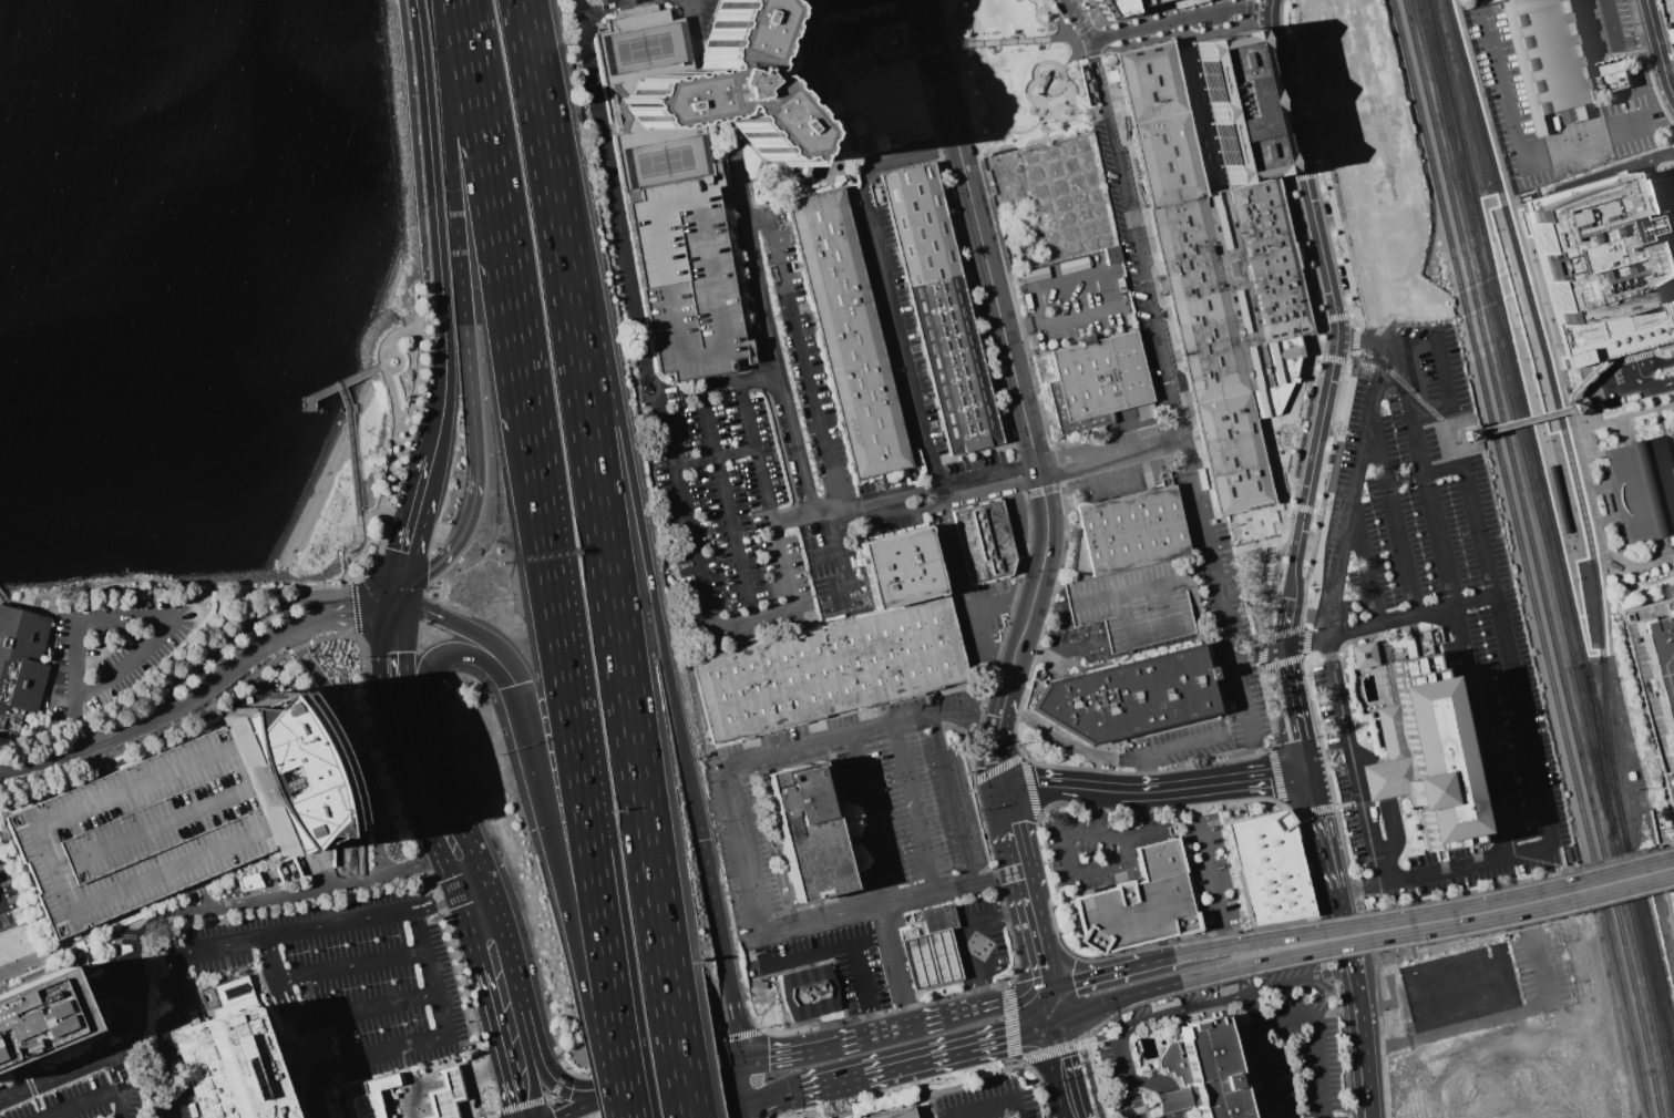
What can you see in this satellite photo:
building: (1139, 2)
parking garage: (1139, 2)
road: (922, 6)
building: (1672, 6)
parking lot: (1672, 6)
building: (1116, 7)
road: (1249, 7)
road: (829, 9)
road: (966, 9)
road: (1270, 9)
road: (689, 11)
road: (1133, 13)
building: (637, 17)
road: (1246, 18)
road: (1055, 19)
road: (1078, 19)
road: (1180, 19)
road: (1662, 20)
road: (1270, 22)
road: (944, 23)
road: (865, 24)
parking lot: (1609, 24)
road: (1085, 25)
street lamp: (1002, 38)
road: (1009, 41)
road: (1614, 42)
park: (641, 48)
road: (932, 50)
street lamp: (955, 50)
road: (1657, 50)
road: (1091, 52)
road: (1078, 54)
building: (1545, 58)
road: (470, 64)
park: (1015, 71)
park: (404, 84)
building: (721, 85)
road: (787, 91)
road: (774, 94)
road: (1267, 95)
road: (538, 98)
road: (964, 103)
building: (1237, 105)
road: (1204, 109)
road: (448, 114)
road: (758, 115)
road: (1293, 127)
road: (1014, 132)
building: (647, 133)
road: (990, 139)
road: (1520, 147)
road: (1200, 150)
park: (663, 161)
road: (1323, 162)
road: (1319, 172)
road: (1303, 175)
road: (1288, 178)
road: (1215, 189)
building: (631, 194)
road: (1501, 198)
road: (616, 201)
railway: (1504, 209)
road: (1153, 214)
road: (1139, 216)
road: (435, 224)
road: (1133, 237)
road: (1151, 240)
road: (1297, 253)
building: (1605, 263)
road: (1229, 268)
road: (1233, 269)
road: (1102, 273)
road: (1159, 275)
road: (507, 278)
building: (685, 278)
parking lot: (685, 278)
building: (1216, 280)
road: (885, 283)
road: (1161, 284)
road: (1328, 284)
road: (1673, 294)
road: (1163, 295)
parking lot: (1076, 299)
road: (424, 305)
road: (1280, 305)
road: (1637, 306)
building: (939, 308)
road: (1540, 310)
road: (1162, 312)
road: (1336, 317)
road: (1312, 321)
road: (769, 325)
road: (1016, 326)
railway: (1504, 326)
road: (1621, 329)
road: (399, 331)
building: (848, 334)
road: (1004, 334)
road: (1356, 342)
road: (1634, 343)
road: (1417, 345)
road: (1662, 345)
parking lot: (805, 348)
road: (801, 353)
road: (384, 356)
road: (1334, 358)
road: (1622, 358)
road: (1652, 362)
road: (381, 365)
road: (1332, 368)
road: (725, 378)
building: (1098, 381)
road: (1578, 381)
road: (1640, 382)
road: (1403, 383)
road: (717, 387)
road: (1585, 390)
pier: (317, 393)
road: (1449, 397)
road: (393, 404)
road: (1569, 408)
road: (1589, 409)
building: (1144, 411)
road: (1577, 413)
railway: (1514, 416)
road: (1521, 420)
road: (1612, 420)
road: (350, 425)
road: (1662, 427)
road: (473, 428)
road: (1569, 431)
road: (1563, 432)
road: (1470, 433)
road: (1475, 434)
park: (371, 435)
road: (1449, 437)
road: (1672, 445)
road: (757, 452)
road: (713, 459)
road: (1313, 462)
road: (1060, 465)
road: (1329, 468)
road: (427, 476)
road: (1290, 480)
building: (1642, 488)
road: (1353, 489)
road: (1588, 492)
road: (1329, 493)
building: (1555, 498)
road: (725, 503)
road: (1321, 503)
road: (384, 504)
road: (856, 505)
road: (1305, 507)
parking lot: (728, 511)
road: (682, 513)
road: (1627, 513)
road: (637, 515)
road: (361, 516)
road: (1394, 520)
building: (1128, 531)
road: (360, 540)
building: (983, 541)
road: (362, 546)
road: (407, 551)
road: (954, 551)
road: (821, 552)
road: (1602, 554)
road: (1592, 555)
railway: (1521, 558)
railway: (1533, 558)
parking lot: (844, 560)
road: (1641, 563)
road: (839, 564)
road: (1293, 565)
building: (898, 567)
road: (1365, 568)
road: (1212, 571)
road: (1446, 572)
road: (173, 585)
road: (1272, 585)
road: (610, 587)
road: (1271, 589)
traffic signals: (394, 596)
pier: (2, 597)
building: (1138, 602)
parking garage: (1138, 602)
road: (1606, 605)
road: (784, 606)
road: (1048, 609)
road: (341, 612)
road: (968, 615)
parking lot: (1490, 615)
road: (248, 617)
road: (104, 619)
road: (1387, 620)
parking lot: (986, 622)
road: (386, 623)
railway: (1600, 623)
road: (400, 624)
road: (1285, 625)
road: (465, 628)
road: (1284, 632)
railway: (1588, 637)
road: (1306, 640)
parking lot: (115, 648)
road: (251, 649)
road: (1061, 649)
road: (1601, 652)
road: (1261, 653)
building: (1362, 655)
railway: (1611, 655)
parking lot: (1235, 656)
road: (1282, 660)
building: (20, 664)
railway: (1583, 664)
road: (427, 668)
building: (829, 669)
building: (1654, 680)
traffic signals: (514, 685)
building: (1129, 696)
road: (1242, 696)
road: (181, 701)
parking lot: (1333, 705)
road: (1002, 707)
road: (1292, 710)
road: (411, 711)
road: (571, 711)
road: (1523, 726)
road: (359, 742)
road: (1171, 748)
road: (379, 750)
road: (72, 752)
railway: (1604, 752)
railway: (1599, 753)
road: (393, 756)
road: (782, 756)
road: (1363, 756)
building: (1421, 760)
road: (1354, 761)
building: (287, 770)
traffic signals: (1306, 773)
road: (995, 775)
road: (1383, 778)
road: (1235, 781)
road: (1065, 787)
traffic signals: (998, 789)
road: (1149, 790)
parking lot: (856, 797)
road: (954, 800)
road: (915, 810)
parking lot: (1356, 817)
road: (876, 820)
road: (1317, 825)
road: (1099, 827)
road: (1007, 830)
building: (138, 831)
parking lot: (138, 831)
building: (807, 831)
road: (1394, 834)
road: (552, 841)
road: (1665, 843)
parking lot: (1099, 845)
road: (1210, 854)
road: (1599, 860)
road: (1112, 865)
building: (1269, 866)
road: (480, 875)
building: (248, 880)
road: (460, 890)
road: (1023, 890)
road: (197, 896)
road: (1439, 896)
road: (420, 901)
building: (1672, 901)
building: (1140, 902)
road: (0, 904)
road: (890, 904)
road: (0, 906)
road: (1499, 907)
road: (423, 910)
parking lot: (7, 911)
road: (716, 911)
road: (165, 917)
building: (938, 919)
road: (822, 921)
road: (1339, 923)
road: (967, 935)
road: (1232, 938)
road: (1247, 943)
railway: (1649, 943)
road: (71, 944)
road: (212, 944)
road: (1174, 944)
road: (1037, 948)
road: (813, 955)
building: (930, 958)
road: (1251, 961)
road: (1143, 963)
road: (352, 965)
parking lot: (859, 967)
railway: (1644, 973)
road: (1010, 976)
road: (433, 977)
road: (1080, 979)
road: (1300, 981)
road: (482, 985)
road: (1246, 985)
road: (838, 987)
traffic signals: (1047, 991)
building: (809, 992)
road: (862, 992)
road: (1113, 997)
road: (1015, 1001)
parking lot: (298, 1004)
road: (850, 1004)
road: (370, 1006)
road: (469, 1008)
road: (1049, 1008)
road: (1184, 1011)
road: (783, 1012)
building: (39, 1015)
road: (962, 1015)
road: (1490, 1018)
road: (305, 1022)
road: (736, 1023)
road: (1008, 1023)
traffic signals: (1052, 1026)
parking lot: (1255, 1026)
road: (742, 1034)
road: (345, 1036)
road: (1099, 1036)
road: (1318, 1037)
road: (717, 1043)
road: (1360, 1043)
building: (276, 1045)
road: (842, 1045)
railway: (1672, 1046)
road: (1046, 1047)
building: (310, 1048)
road: (677, 1049)
road: (382, 1052)
road: (680, 1052)
road: (1049, 1052)
road: (526, 1053)
road: (619, 1056)
road: (597, 1058)
road: (559, 1059)
road: (927, 1060)
traffic signals: (744, 1064)
road: (545, 1067)
road: (122, 1068)
building: (228, 1068)
road: (1061, 1071)
building: (1202, 1071)
road: (682, 1074)
road: (609, 1075)
road: (1129, 1075)
road: (443, 1077)
road: (408, 1078)
road: (1090, 1080)
building: (379, 1083)
road: (379, 1083)
road: (1164, 1084)
road: (748, 1085)
building: (445, 1094)
gas station: (445, 1094)
road: (474, 1094)
road: (904, 1097)
parking lot: (94, 1098)
road: (343, 1098)
road: (777, 1099)
road: (88, 1100)
road: (127, 1100)
road: (536, 1100)
road: (589, 1102)
parking lot: (989, 1104)
building: (367, 1105)
traffic signals: (752, 1106)
road: (986, 1106)
road: (723, 1111)
road: (752, 1111)
building: (895, 1114)

